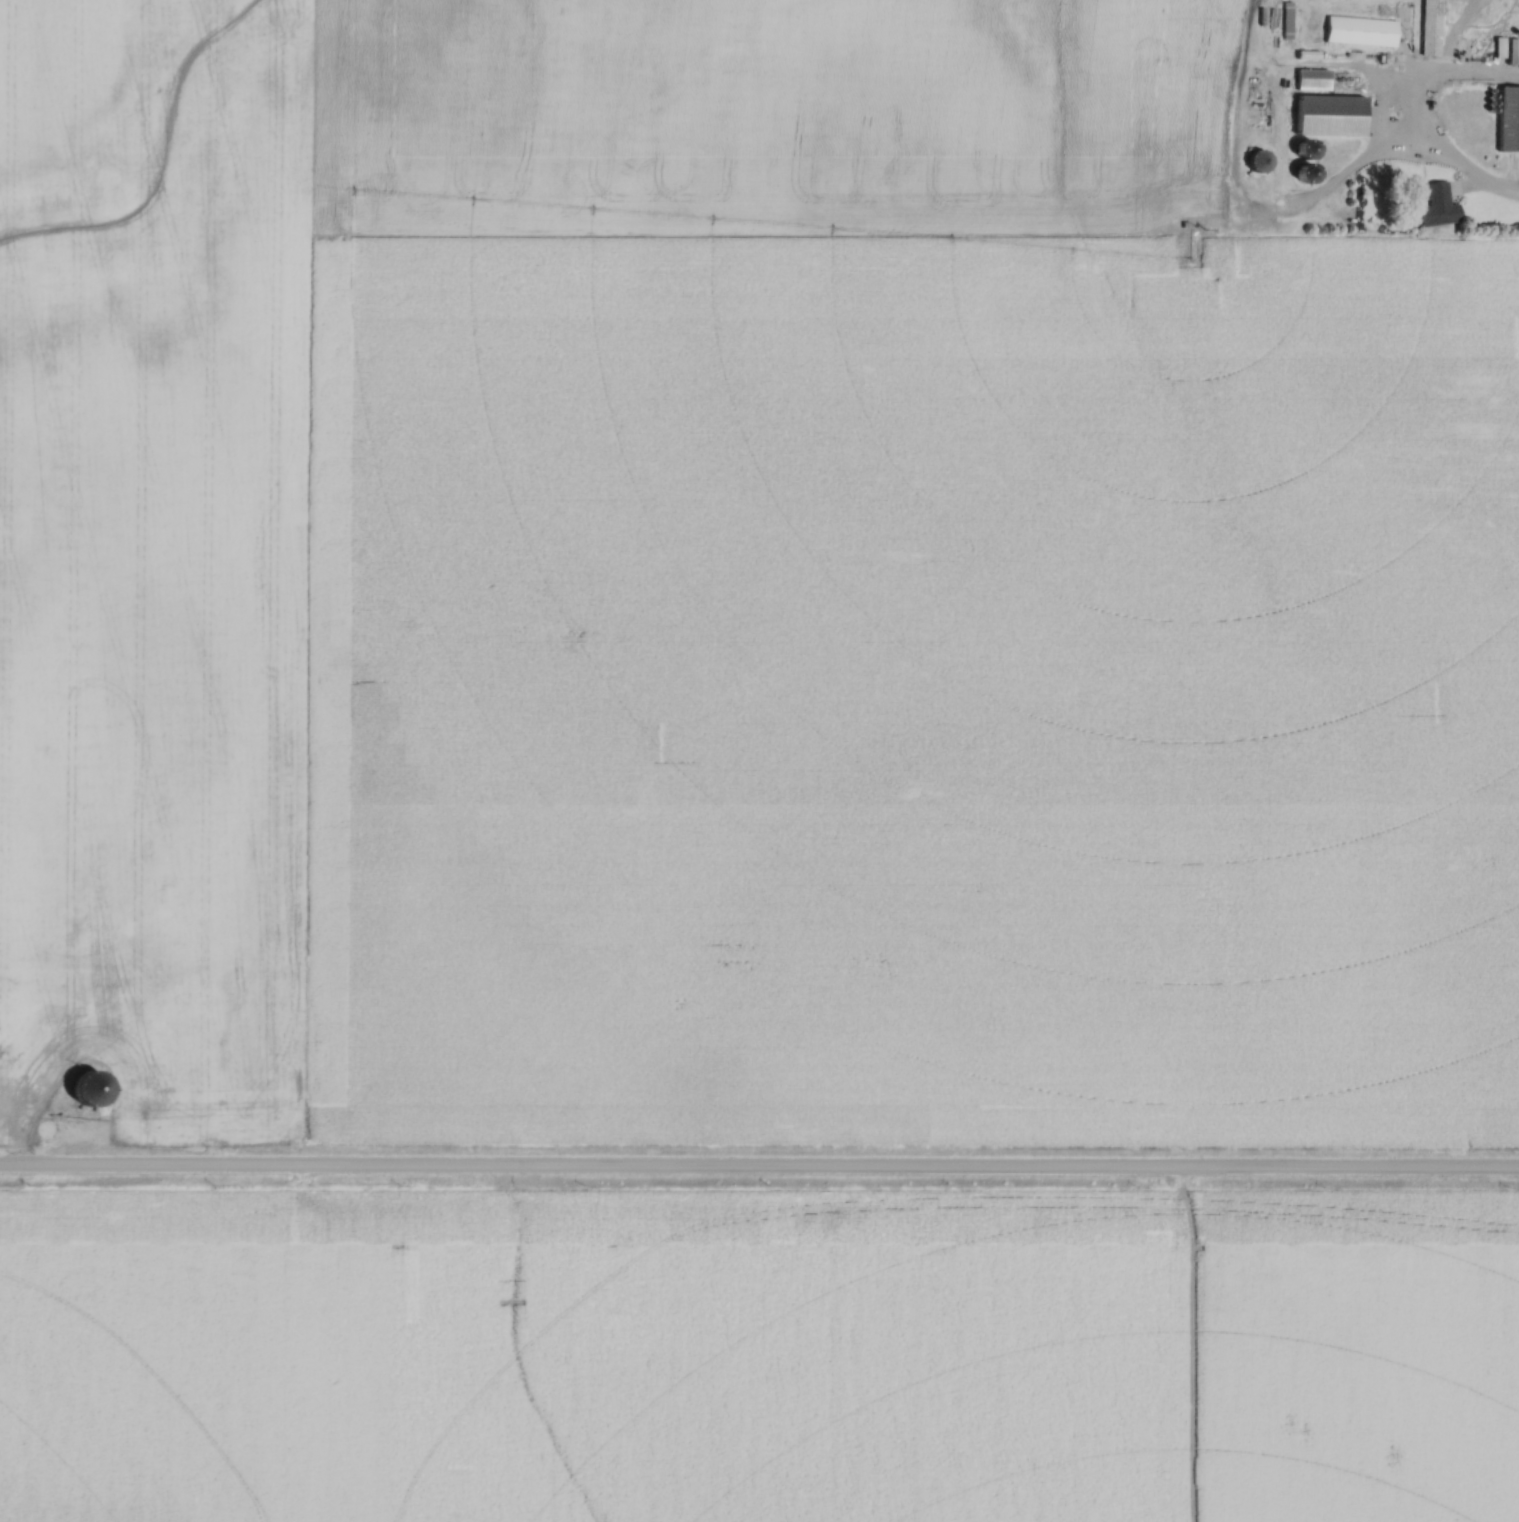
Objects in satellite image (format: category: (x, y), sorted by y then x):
building: (1512, 2)
building: (1427, 28)
building: (1357, 32)
building: (1503, 50)
building: (1310, 80)
road: (1414, 112)
building: (1323, 116)
building: (1506, 119)
building: (1297, 150)
building: (1254, 161)
building: (1298, 172)
building: (1435, 207)
building: (51, 1129)
road: (759, 1162)

